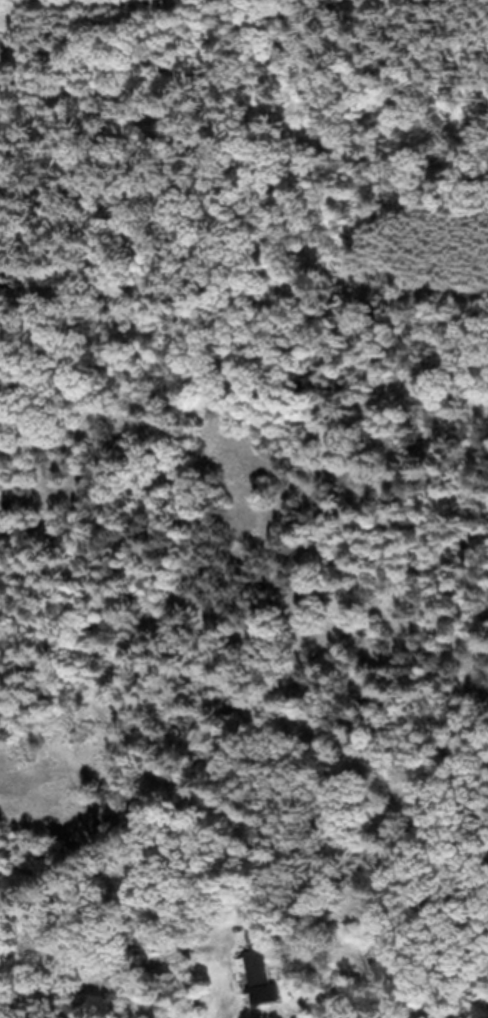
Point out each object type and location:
building: (255, 969)

